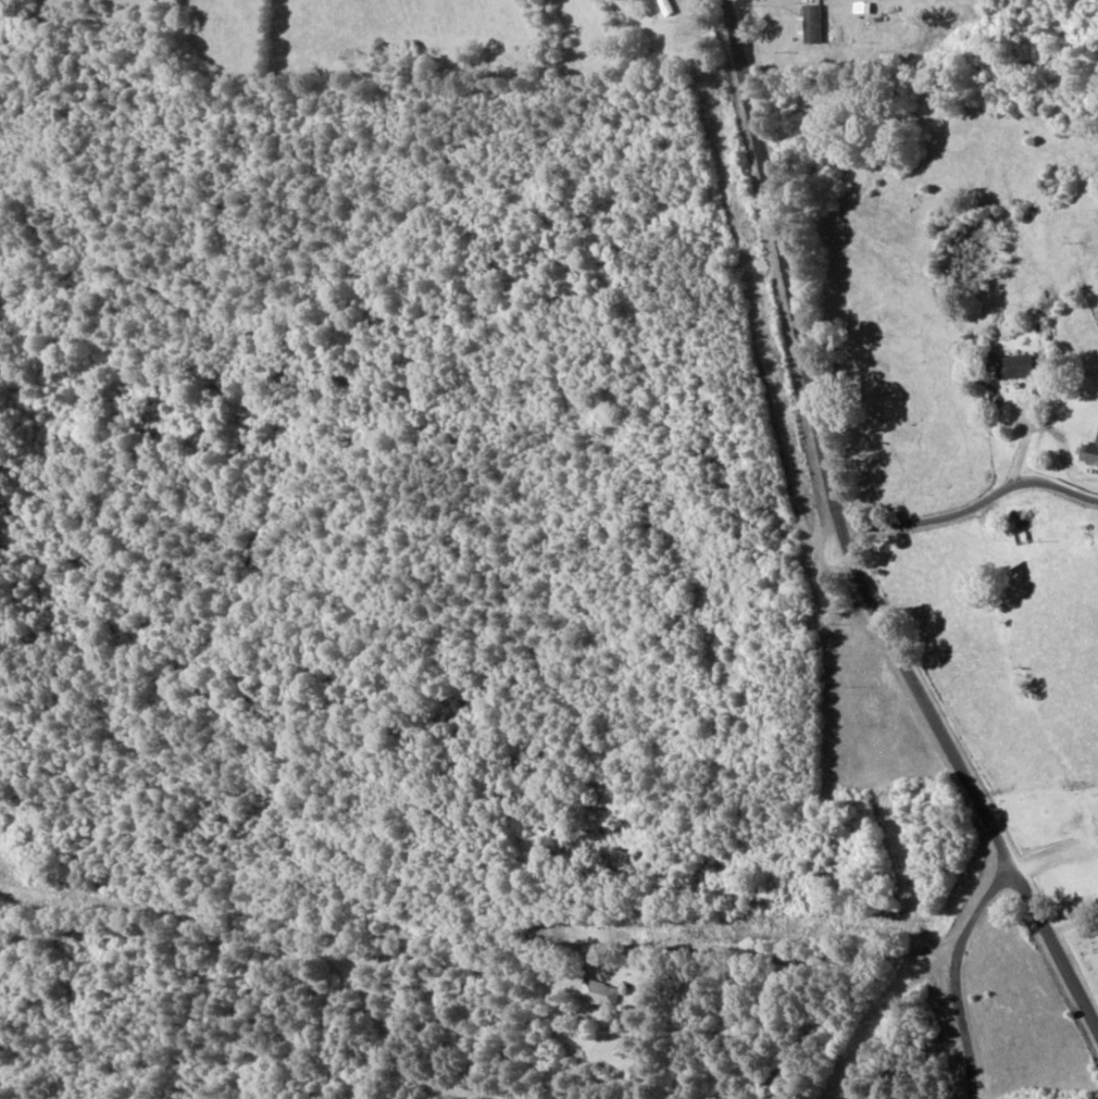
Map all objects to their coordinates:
building: (816, 27)
road: (879, 104)
building: (1013, 365)
building: (1088, 451)
road: (854, 570)
road: (1062, 967)
building: (598, 992)
road: (933, 1006)

